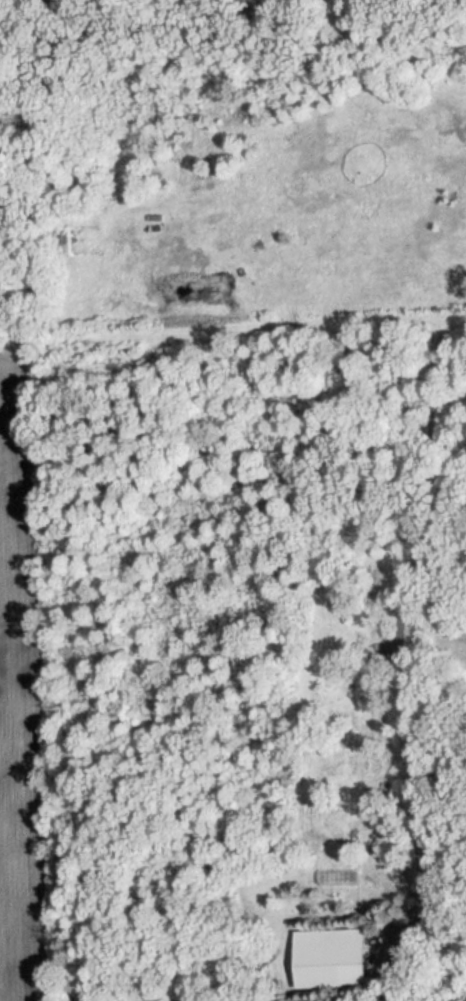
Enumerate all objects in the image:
building: (332, 958)

